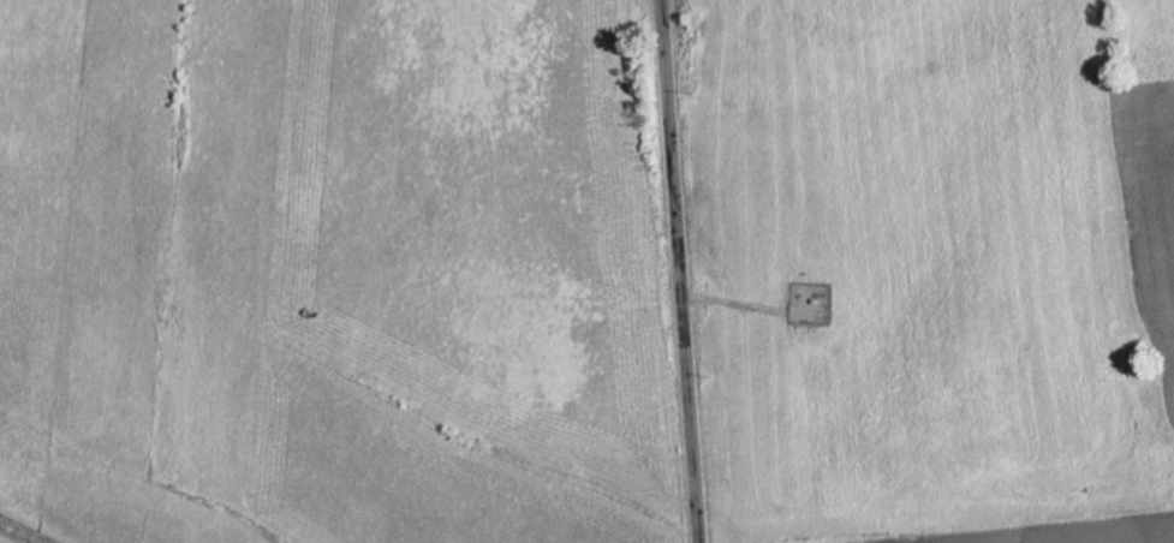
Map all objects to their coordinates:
road: (679, 271)

